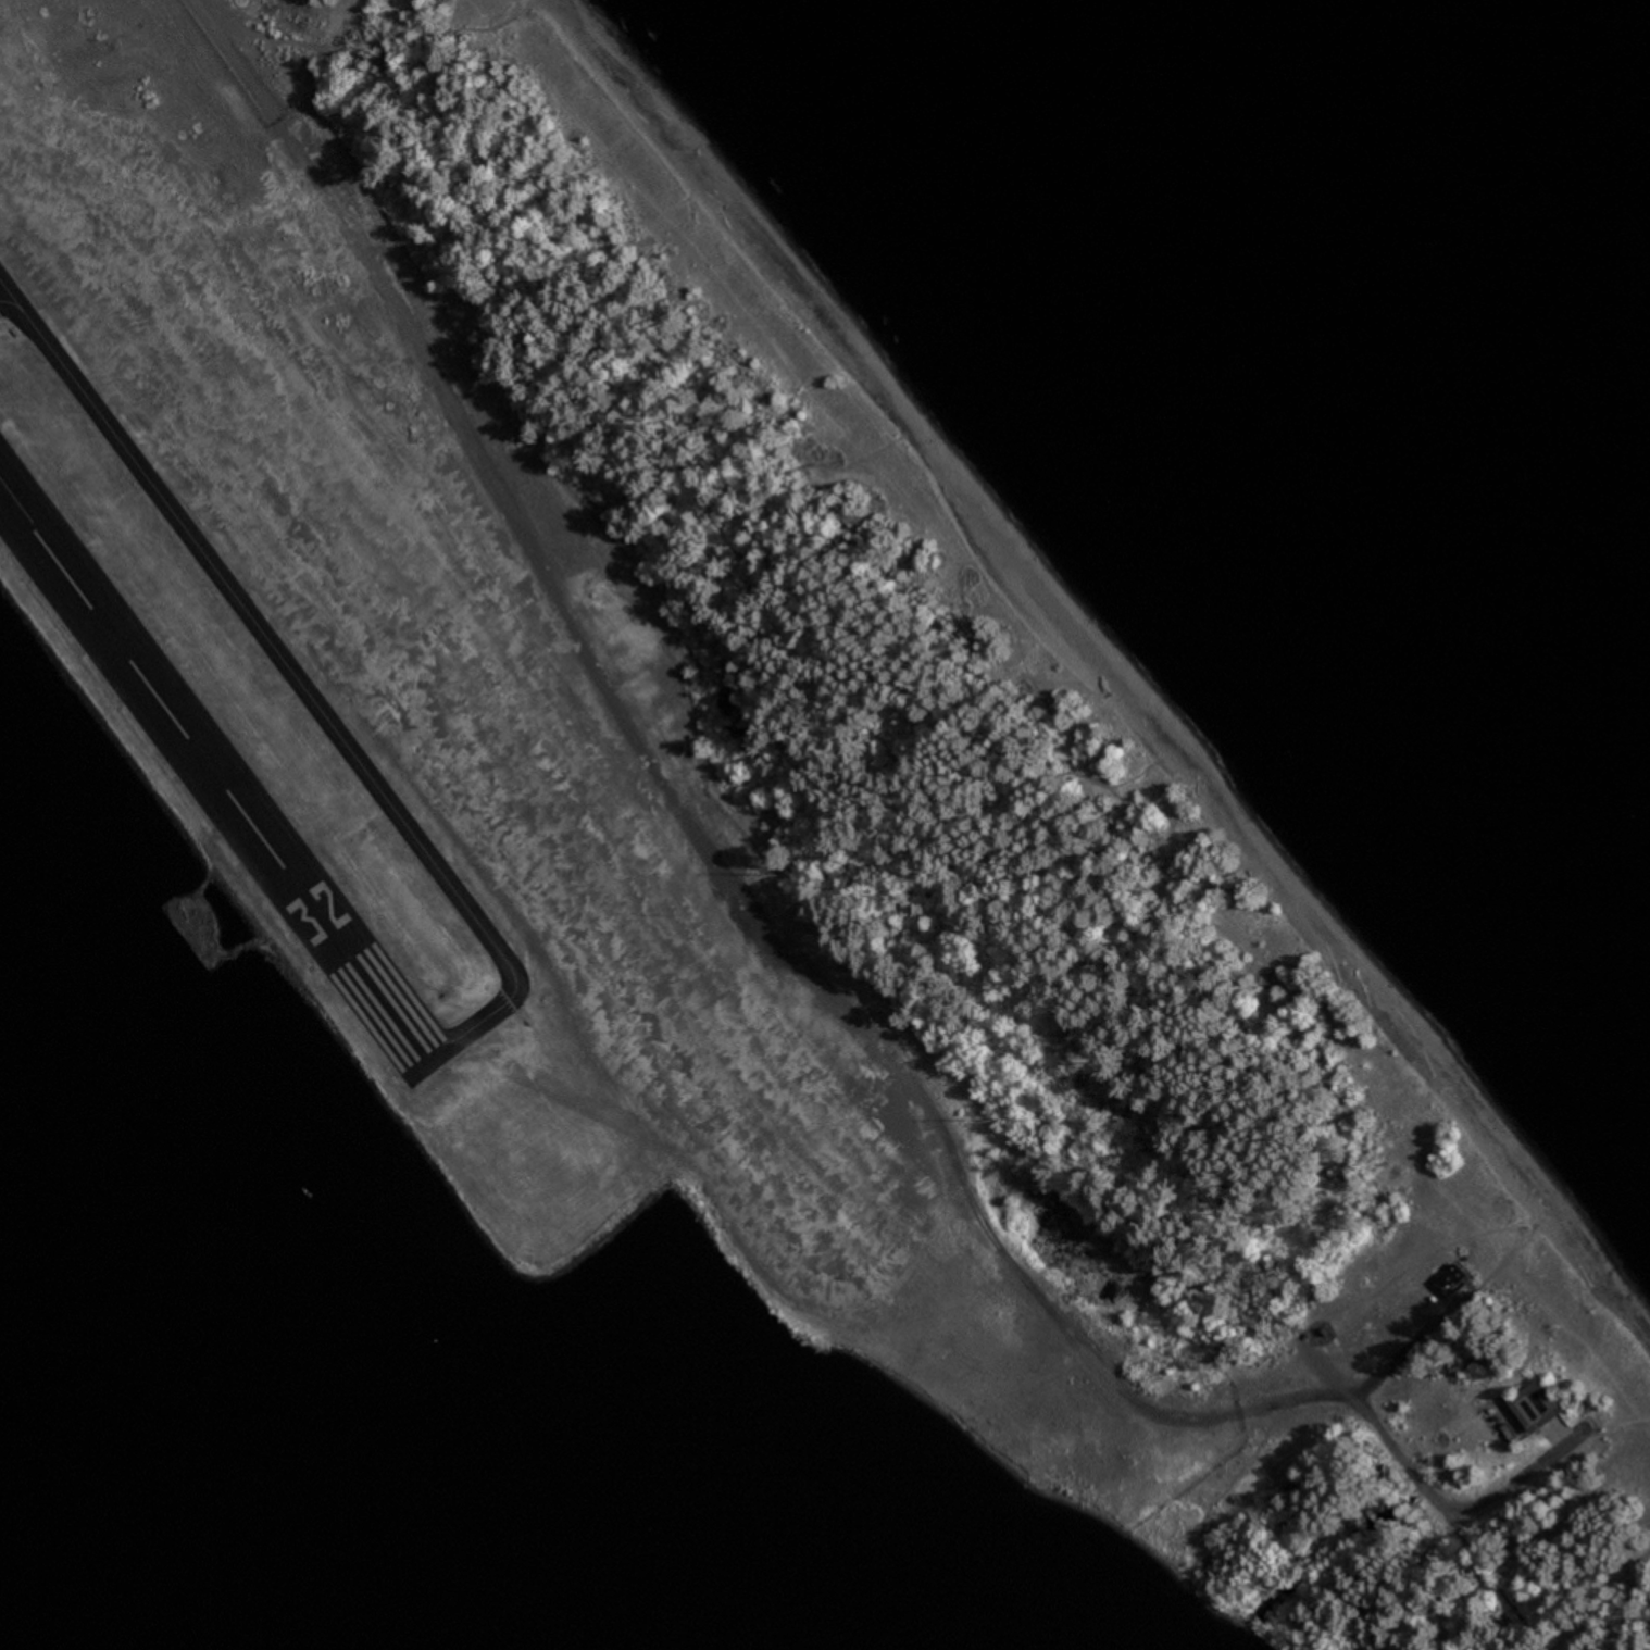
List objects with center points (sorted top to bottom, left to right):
airport taxiway: (3, 291)
airport taxiway: (295, 676)
airport runway: (217, 773)
airport: (488, 773)
road: (902, 778)
road: (785, 939)
building: (1452, 1282)
building: (1525, 1410)

